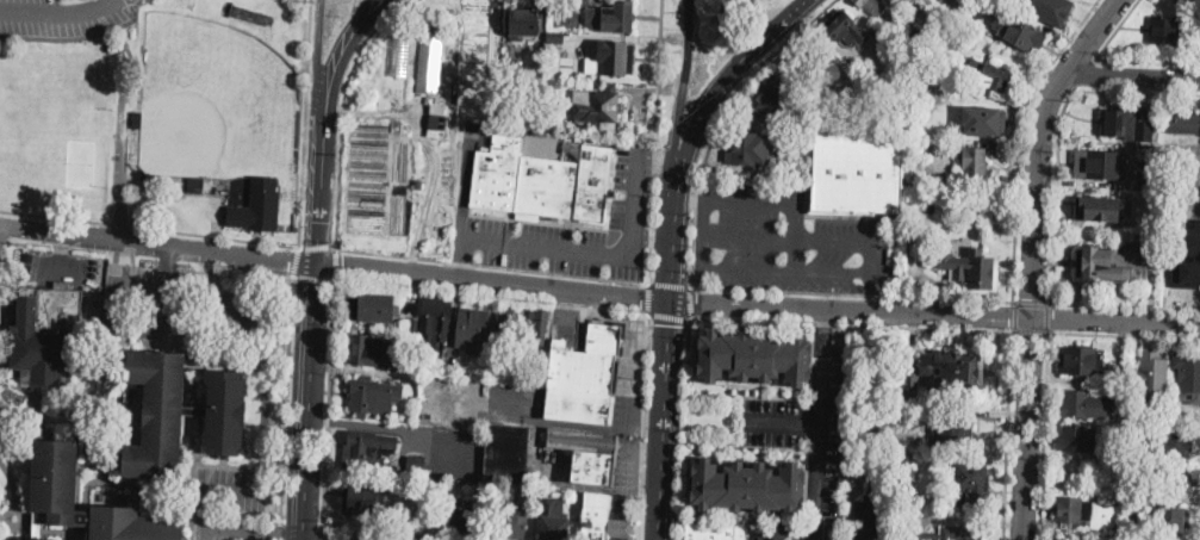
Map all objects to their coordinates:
building: (899, 0)
parking lot: (36, 1)
road: (129, 1)
building: (956, 2)
building: (871, 6)
building: (1050, 11)
road: (58, 14)
building: (1192, 17)
building: (611, 18)
building: (522, 24)
parking lot: (62, 25)
building: (937, 25)
road: (1114, 29)
building: (845, 30)
building: (1165, 30)
building: (1022, 33)
road: (76, 36)
building: (557, 38)
building: (399, 54)
building: (518, 55)
road: (1148, 57)
building: (611, 61)
road: (338, 63)
building: (430, 63)
road: (317, 72)
road: (658, 72)
building: (821, 72)
road: (1082, 72)
road: (1136, 73)
building: (989, 75)
road: (726, 81)
building: (551, 88)
road: (1136, 89)
road: (682, 93)
park: (218, 97)
building: (777, 97)
building: (598, 107)
building: (440, 108)
road: (342, 112)
building: (143, 119)
building: (435, 120)
road: (717, 120)
building: (982, 120)
building: (1115, 122)
building: (1183, 123)
road: (306, 125)
building: (1144, 130)
road: (1020, 138)
building: (919, 145)
road: (433, 147)
road: (1037, 147)
park: (543, 148)
building: (747, 148)
road: (653, 157)
road: (654, 159)
building: (1171, 159)
building: (1185, 159)
park: (81, 162)
building: (1105, 162)
building: (975, 163)
road: (123, 166)
building: (497, 172)
building: (856, 175)
building: (195, 181)
building: (592, 181)
building: (418, 182)
building: (1152, 182)
building: (547, 185)
building: (1173, 185)
road: (1055, 193)
road: (690, 197)
road: (318, 204)
building: (257, 206)
building: (1098, 207)
road: (52, 217)
building: (986, 221)
road: (117, 223)
road: (651, 226)
road: (796, 230)
parking lot: (568, 231)
road: (652, 234)
road: (214, 235)
building: (906, 241)
road: (750, 242)
parking lot: (785, 242)
road: (673, 243)
road: (316, 244)
road: (851, 244)
road: (596, 253)
road: (61, 254)
road: (462, 257)
road: (293, 261)
building: (1109, 261)
road: (334, 262)
road: (492, 263)
building: (1188, 263)
parking lot: (58, 265)
road: (335, 266)
road: (714, 269)
building: (971, 269)
road: (311, 275)
road: (117, 283)
road: (669, 283)
road: (164, 292)
road: (490, 293)
road: (852, 293)
road: (877, 293)
road: (648, 297)
traffic signals: (641, 299)
road: (691, 300)
road: (1030, 302)
traffic signals: (698, 303)
road: (1124, 304)
parking lot: (138, 305)
building: (373, 308)
road: (851, 311)
parking lot: (236, 315)
road: (669, 315)
road: (1014, 316)
road: (1046, 316)
building: (436, 318)
road: (1115, 319)
traffic signals: (670, 323)
road: (851, 323)
building: (415, 325)
building: (508, 325)
building: (539, 327)
building: (473, 329)
road: (1030, 331)
road: (825, 333)
road: (1123, 333)
building: (50, 336)
road: (269, 343)
building: (367, 350)
building: (754, 356)
building: (1082, 360)
building: (566, 366)
building: (497, 371)
building: (957, 371)
building: (1188, 372)
building: (533, 374)
building: (1154, 375)
parking lot: (629, 378)
building: (1120, 378)
building: (591, 380)
building: (910, 385)
building: (1120, 393)
building: (373, 396)
road: (665, 397)
road: (307, 399)
road: (328, 401)
parking lot: (477, 401)
road: (288, 403)
building: (1084, 405)
building: (195, 411)
building: (226, 412)
building: (157, 414)
building: (1137, 418)
building: (879, 421)
road: (367, 423)
road: (783, 424)
road: (582, 426)
road: (643, 427)
road: (685, 428)
road: (1026, 428)
building: (950, 434)
road: (1007, 435)
road: (1042, 435)
building: (1076, 437)
parking lot: (808, 439)
building: (1171, 443)
building: (368, 446)
road: (821, 447)
parking lot: (453, 449)
building: (589, 453)
building: (1120, 453)
building: (508, 454)
building: (904, 458)
building: (416, 461)
parking lot: (547, 461)
building: (857, 466)
building: (1094, 467)
building: (1136, 468)
building: (1164, 483)
building: (57, 484)
building: (971, 484)
road: (212, 486)
building: (747, 486)
road: (599, 488)
parking lot: (231, 489)
building: (527, 495)
parking lot: (411, 497)
building: (365, 498)
building: (621, 505)
building: (1071, 510)
building: (468, 516)
road: (660, 516)
building: (603, 519)
building: (1132, 519)
building: (554, 520)
building: (1174, 520)
building: (133, 525)
building: (511, 525)
road: (245, 530)
building: (715, 530)
road: (322, 532)
road: (398, 532)
building: (775, 533)
building: (868, 533)
building: (949, 533)
building: (36, 538)
road: (299, 538)
road: (316, 538)

